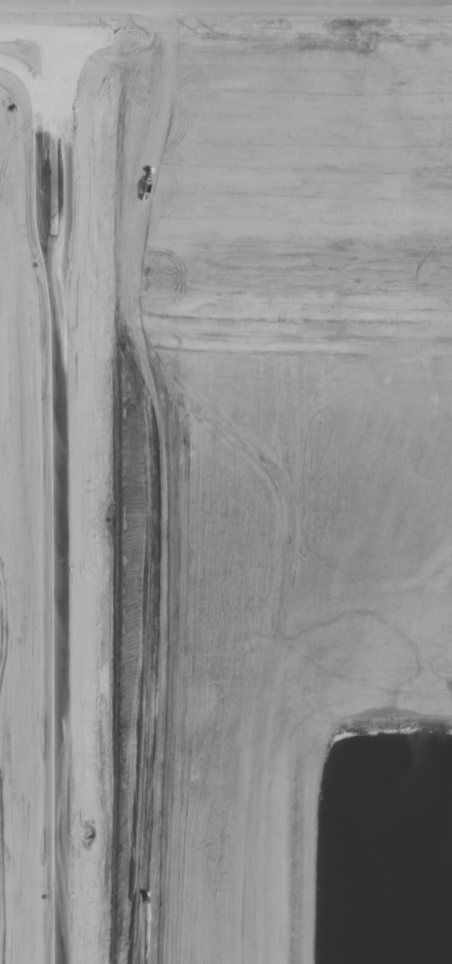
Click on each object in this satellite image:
road: (59, 2)
road: (30, 5)
road: (256, 6)
road: (60, 484)

